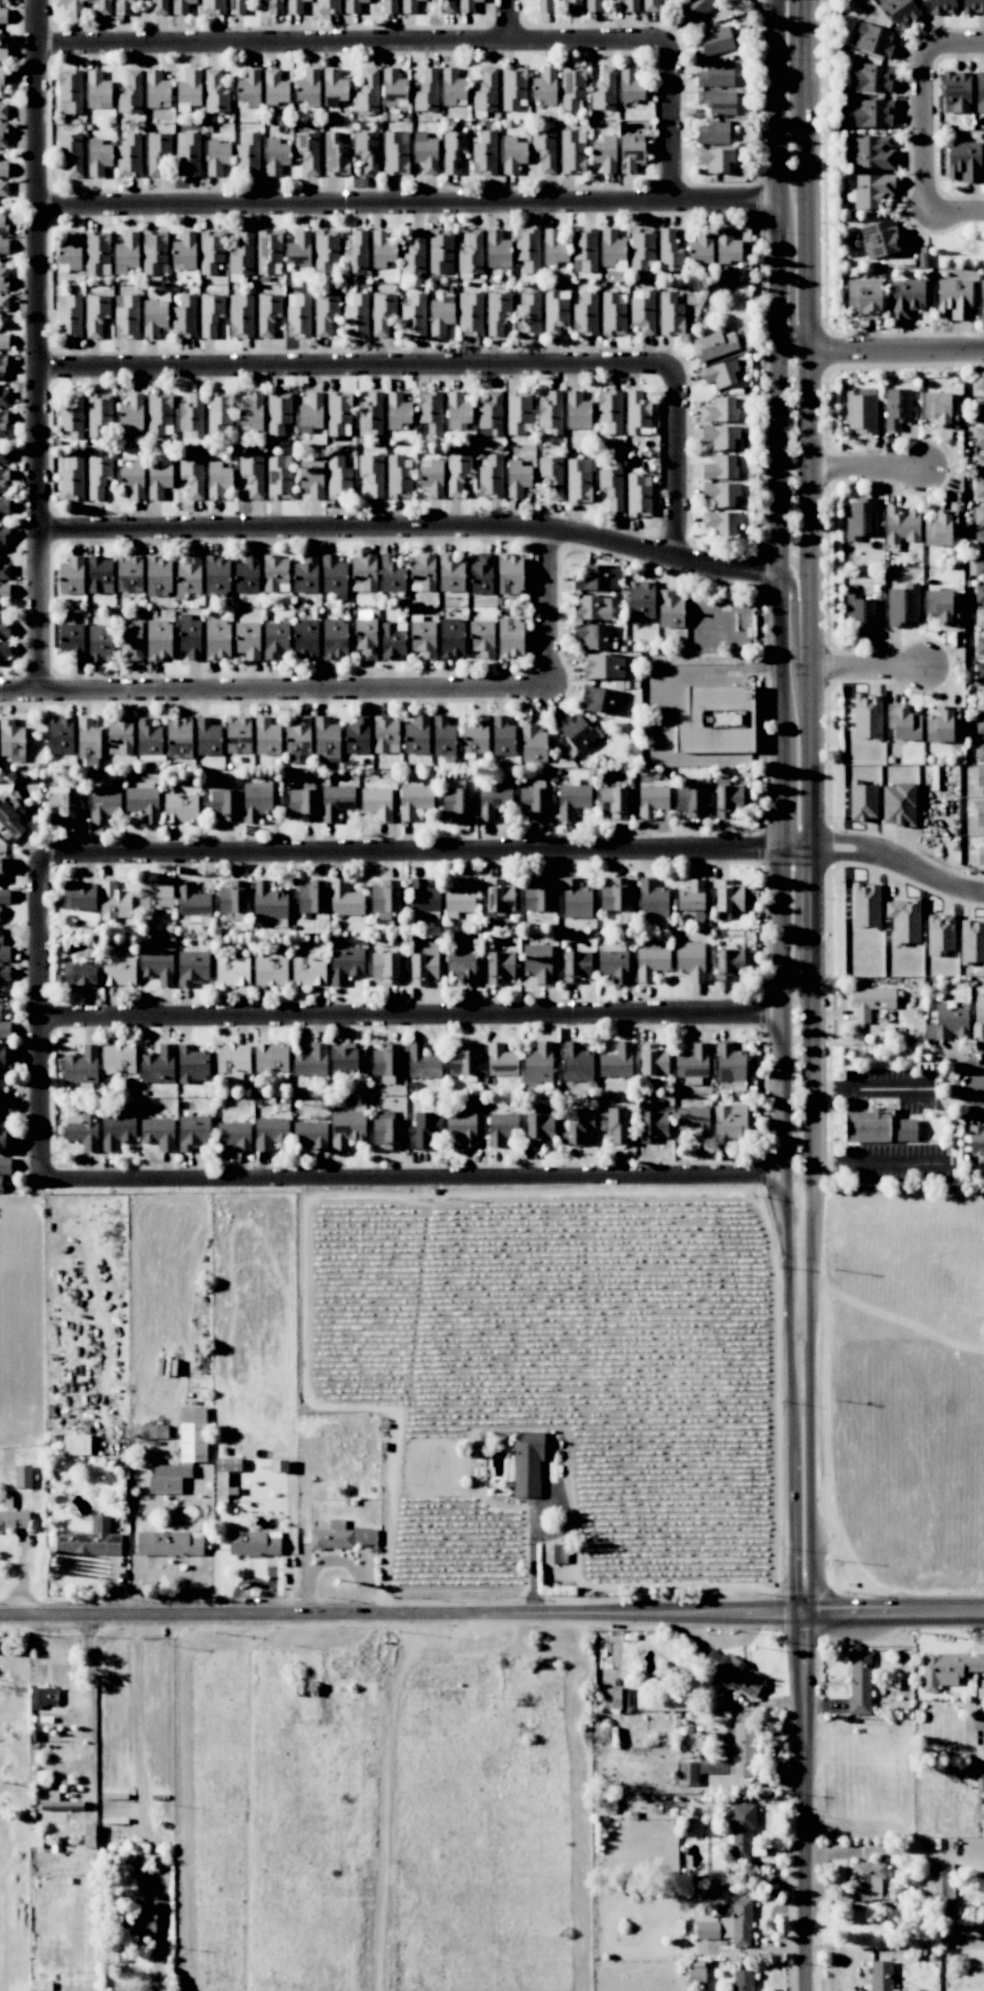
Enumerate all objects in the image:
building: (353, 5)
building: (467, 5)
building: (544, 5)
building: (593, 5)
building: (630, 5)
building: (651, 5)
building: (72, 6)
building: (101, 6)
building: (181, 6)
building: (213, 6)
building: (238, 6)
building: (272, 6)
building: (295, 6)
building: (328, 6)
building: (389, 6)
building: (409, 6)
building: (446, 6)
building: (941, 6)
building: (973, 6)
building: (122, 7)
building: (160, 7)
building: (693, 9)
building: (900, 11)
building: (2, 15)
road: (512, 21)
building: (718, 40)
building: (873, 40)
road: (355, 42)
road: (956, 45)
building: (3, 53)
building: (715, 75)
building: (2, 77)
building: (871, 77)
building: (630, 84)
building: (334, 85)
building: (545, 85)
building: (189, 87)
building: (275, 87)
building: (308, 87)
building: (393, 87)
building: (452, 87)
building: (513, 87)
building: (572, 87)
building: (156, 89)
building: (248, 89)
building: (98, 90)
building: (604, 90)
building: (70, 91)
building: (367, 91)
building: (426, 91)
building: (486, 91)
building: (955, 91)
building: (979, 91)
building: (215, 92)
building: (131, 93)
building: (717, 102)
building: (3, 111)
building: (871, 113)
road: (670, 123)
road: (929, 131)
building: (712, 132)
building: (3, 135)
building: (544, 150)
building: (367, 151)
building: (453, 151)
building: (572, 151)
building: (157, 152)
building: (308, 152)
building: (396, 152)
building: (631, 152)
building: (873, 152)
building: (71, 153)
building: (425, 153)
building: (188, 154)
building: (335, 154)
building: (484, 154)
building: (512, 154)
building: (604, 154)
building: (248, 155)
building: (129, 156)
building: (217, 156)
building: (276, 156)
building: (98, 157)
building: (715, 159)
building: (963, 161)
building: (3, 168)
building: (3, 188)
building: (871, 190)
road: (406, 205)
road: (957, 215)
building: (881, 239)
building: (611, 245)
building: (727, 246)
building: (70, 247)
building: (554, 247)
building: (641, 248)
building: (299, 249)
building: (382, 249)
building: (441, 249)
building: (497, 249)
building: (528, 249)
building: (700, 249)
building: (326, 250)
building: (584, 250)
building: (154, 251)
building: (184, 251)
building: (211, 251)
building: (268, 251)
building: (669, 251)
building: (126, 252)
building: (97, 253)
building: (357, 253)
building: (414, 253)
building: (471, 253)
building: (242, 254)
road: (789, 275)
building: (3, 279)
building: (906, 297)
building: (864, 298)
building: (981, 298)
building: (958, 299)
building: (4, 303)
building: (642, 311)
building: (497, 312)
building: (325, 313)
building: (382, 313)
building: (555, 313)
building: (96, 314)
building: (211, 314)
building: (470, 314)
building: (585, 314)
building: (612, 314)
building: (670, 314)
building: (241, 315)
building: (268, 315)
building: (298, 315)
building: (356, 315)
building: (440, 315)
building: (528, 315)
building: (69, 316)
building: (126, 316)
building: (413, 316)
building: (154, 317)
building: (185, 317)
road: (773, 334)
road: (805, 334)
building: (4, 341)
road: (38, 344)
building: (713, 345)
road: (895, 350)
building: (2, 365)
road: (358, 370)
building: (720, 373)
building: (978, 381)
building: (3, 397)
building: (429, 407)
building: (897, 408)
building: (939, 409)
building: (978, 409)
building: (397, 410)
building: (457, 410)
building: (720, 410)
building: (860, 410)
building: (252, 411)
building: (311, 411)
building: (518, 411)
building: (577, 411)
building: (132, 412)
building: (219, 412)
building: (279, 412)
building: (338, 412)
building: (610, 412)
building: (637, 413)
building: (159, 414)
building: (370, 414)
building: (490, 414)
building: (550, 414)
building: (72, 415)
building: (100, 415)
building: (192, 415)
building: (2, 423)
building: (721, 436)
building: (979, 436)
building: (4, 457)
building: (979, 463)
road: (680, 465)
road: (866, 467)
building: (721, 468)
building: (457, 473)
building: (372, 474)
building: (193, 475)
building: (252, 475)
building: (98, 476)
building: (551, 476)
building: (279, 477)
building: (398, 477)
building: (491, 477)
building: (71, 478)
building: (159, 478)
building: (311, 478)
building: (338, 478)
building: (431, 478)
building: (517, 478)
building: (133, 480)
building: (218, 480)
building: (578, 480)
building: (3, 481)
building: (611, 488)
building: (979, 488)
building: (721, 493)
building: (638, 495)
building: (4, 505)
building: (979, 515)
building: (860, 518)
building: (720, 522)
building: (901, 525)
building: (940, 528)
road: (411, 532)
building: (3, 538)
building: (979, 540)
building: (979, 566)
building: (4, 572)
building: (275, 573)
building: (364, 573)
building: (100, 574)
building: (305, 574)
building: (333, 574)
building: (450, 574)
building: (509, 574)
building: (188, 575)
building: (247, 575)
building: (481, 575)
building: (71, 576)
building: (216, 576)
building: (158, 577)
building: (4, 590)
building: (979, 594)
building: (641, 600)
building: (903, 605)
building: (592, 607)
building: (941, 607)
building: (670, 610)
road: (547, 611)
building: (862, 615)
building: (979, 616)
road: (794, 619)
building: (593, 636)
building: (366, 637)
building: (510, 637)
building: (305, 638)
building: (334, 638)
building: (451, 638)
building: (482, 638)
building: (131, 639)
building: (158, 639)
building: (190, 639)
building: (217, 639)
building: (247, 639)
building: (275, 639)
building: (423, 639)
building: (100, 642)
building: (979, 646)
building: (603, 666)
road: (868, 668)
building: (979, 669)
road: (273, 688)
building: (979, 697)
building: (601, 701)
building: (867, 717)
building: (715, 720)
building: (903, 722)
building: (941, 724)
building: (980, 724)
building: (179, 731)
building: (298, 731)
building: (476, 732)
building: (529, 732)
building: (577, 732)
building: (60, 735)
building: (266, 735)
building: (357, 735)
building: (416, 735)
building: (92, 736)
building: (120, 736)
building: (386, 736)
building: (11, 738)
building: (148, 738)
building: (502, 738)
building: (979, 752)
building: (980, 777)
building: (690, 798)
building: (414, 800)
building: (493, 800)
building: (572, 800)
building: (651, 800)
building: (727, 800)
building: (256, 801)
building: (336, 801)
building: (143, 802)
building: (613, 802)
building: (863, 802)
building: (377, 803)
building: (456, 803)
building: (533, 803)
building: (224, 804)
building: (302, 804)
building: (103, 805)
building: (180, 808)
building: (979, 813)
building: (12, 820)
building: (983, 849)
road: (424, 852)
road: (865, 854)
building: (3, 870)
road: (924, 878)
building: (155, 895)
building: (613, 895)
building: (78, 896)
building: (384, 896)
building: (460, 896)
building: (499, 896)
building: (537, 896)
building: (728, 896)
building: (190, 898)
building: (424, 898)
building: (310, 899)
building: (344, 899)
building: (575, 899)
building: (269, 900)
building: (652, 900)
building: (114, 901)
building: (865, 905)
building: (940, 935)
building: (972, 941)
building: (3, 950)
building: (690, 961)
building: (613, 962)
building: (651, 962)
building: (537, 963)
building: (729, 963)
building: (345, 964)
building: (157, 965)
building: (499, 966)
building: (575, 966)
building: (193, 967)
building: (385, 967)
building: (423, 968)
building: (270, 970)
building: (308, 970)
building: (118, 971)
building: (232, 971)
building: (79, 974)
building: (871, 1002)
road: (411, 1015)
road: (44, 1019)
building: (978, 1022)
building: (948, 1023)
building: (4, 1028)
building: (271, 1057)
building: (347, 1058)
building: (3, 1059)
building: (118, 1059)
building: (385, 1059)
building: (693, 1060)
building: (311, 1061)
building: (616, 1061)
building: (653, 1061)
building: (422, 1063)
building: (576, 1063)
building: (730, 1063)
building: (192, 1064)
building: (537, 1064)
building: (81, 1065)
building: (157, 1065)
road: (869, 1087)
building: (4, 1102)
building: (693, 1121)
building: (729, 1123)
building: (614, 1125)
building: (652, 1125)
building: (577, 1126)
building: (878, 1127)
building: (346, 1128)
building: (462, 1128)
building: (501, 1128)
building: (82, 1130)
building: (117, 1130)
building: (424, 1130)
building: (193, 1132)
building: (158, 1133)
building: (270, 1133)
building: (386, 1133)
building: (311, 1134)
building: (4, 1135)
building: (234, 1135)
building: (976, 1141)
road: (779, 1145)
road: (806, 1145)
building: (4, 1167)
road: (877, 1168)
road: (413, 1175)
road: (894, 1321)
building: (76, 1444)
building: (527, 1464)
building: (23, 1476)
building: (223, 1477)
building: (168, 1478)
building: (13, 1520)
road: (532, 1520)
building: (341, 1536)
building: (90, 1540)
building: (169, 1543)
building: (254, 1543)
building: (554, 1553)
road: (335, 1562)
road: (162, 1575)
road: (883, 1603)
road: (391, 1613)
road: (789, 1617)
road: (889, 1621)
road: (798, 1628)
road: (806, 1628)
building: (947, 1669)
building: (860, 1683)
building: (43, 1696)
building: (615, 1698)
building: (740, 1751)
building: (979, 1755)
road: (137, 1771)
road: (804, 1812)
building: (742, 1830)
building: (866, 1880)
building: (941, 1886)
building: (137, 1922)
building: (728, 1924)
building: (114, 1953)
building: (696, 1975)
building: (881, 1976)
building: (743, 1980)

